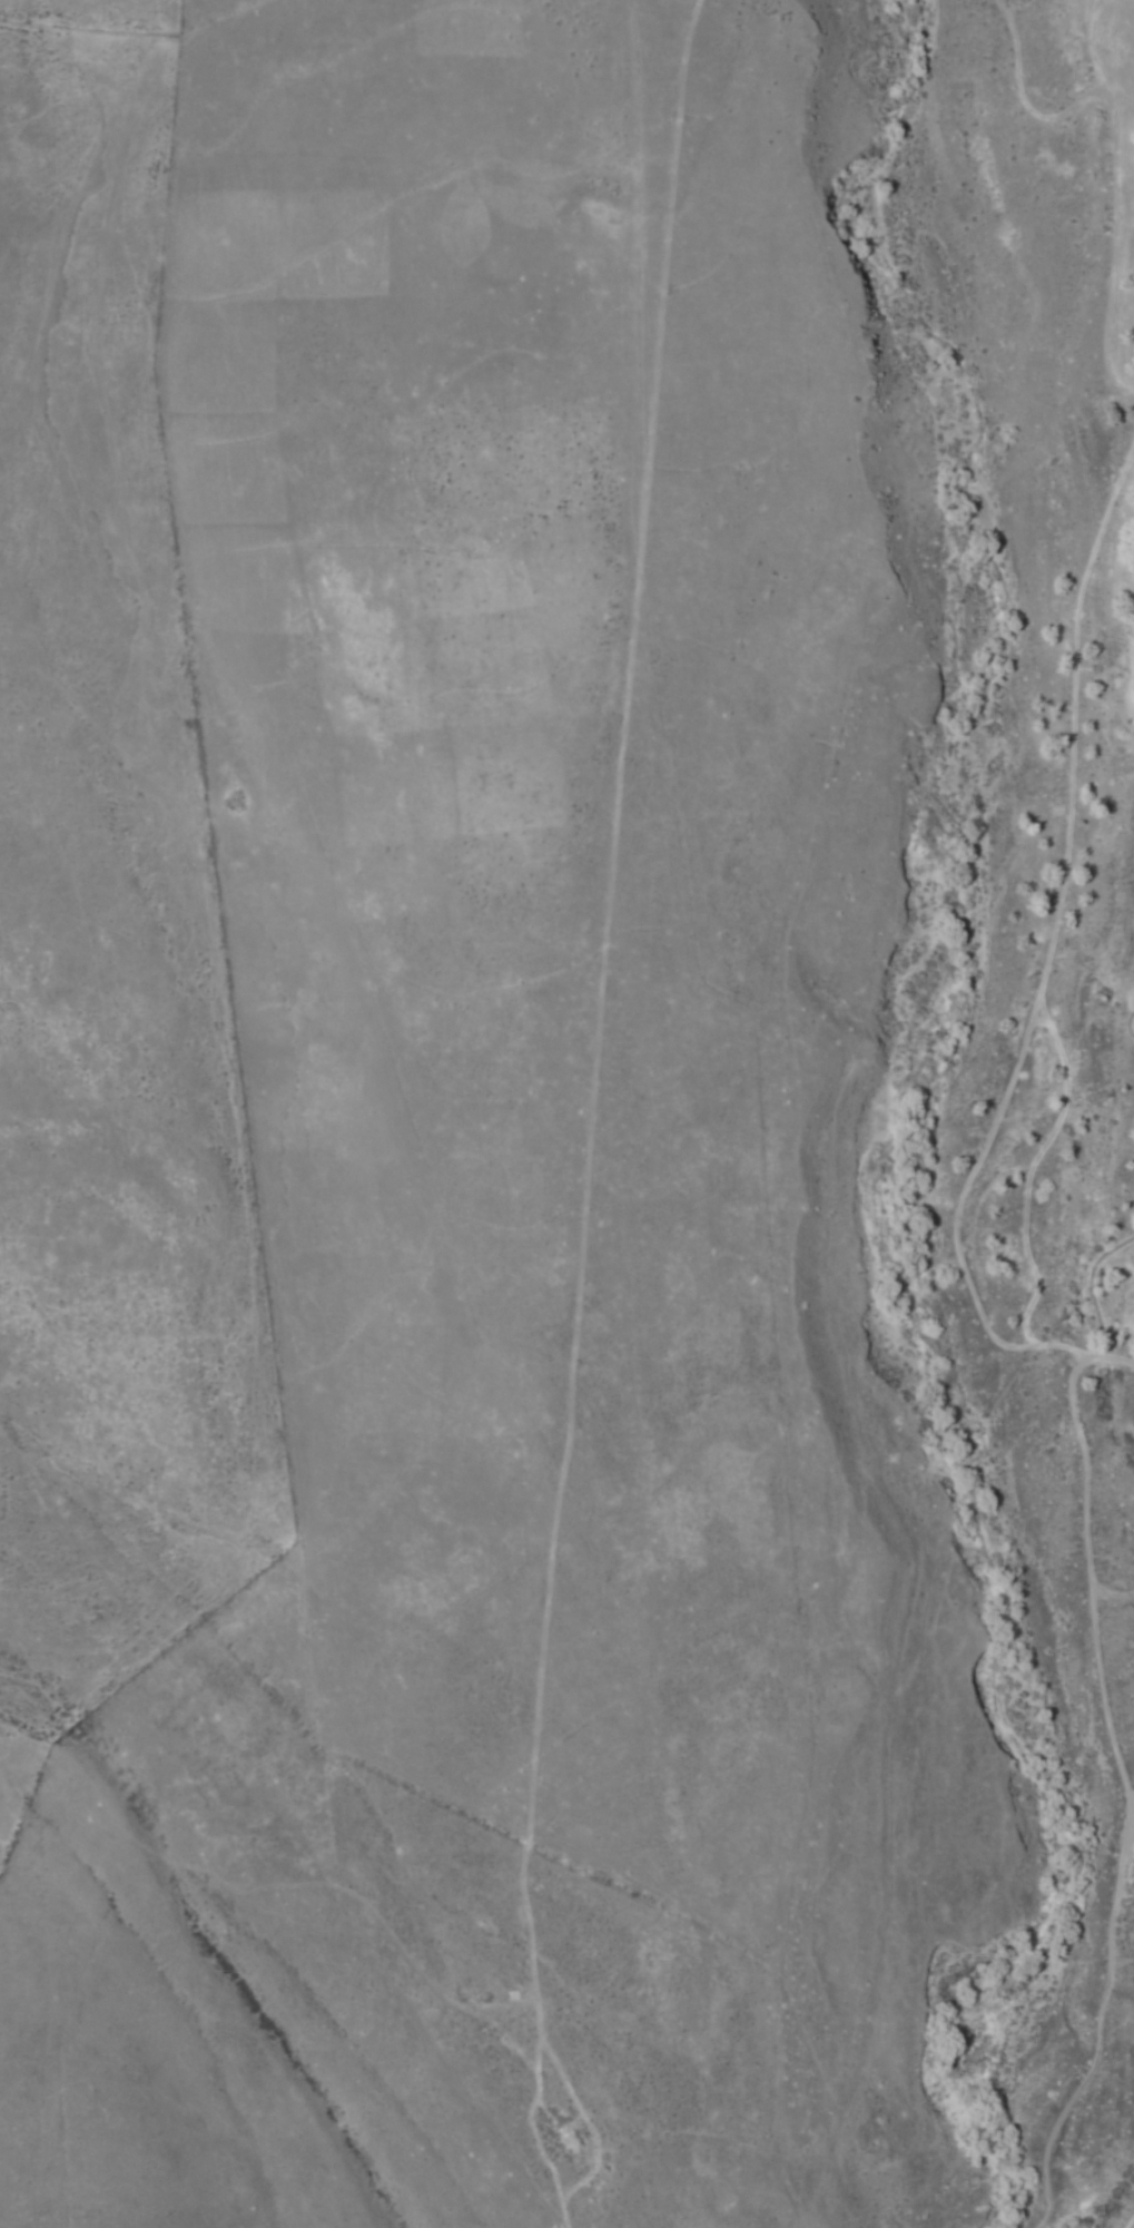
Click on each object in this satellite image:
road: (1025, 94)
road: (1111, 202)
road: (1131, 1029)
road: (980, 1146)
road: (1093, 1289)
road: (1105, 1358)
road: (267, 1836)
road: (1100, 2029)

